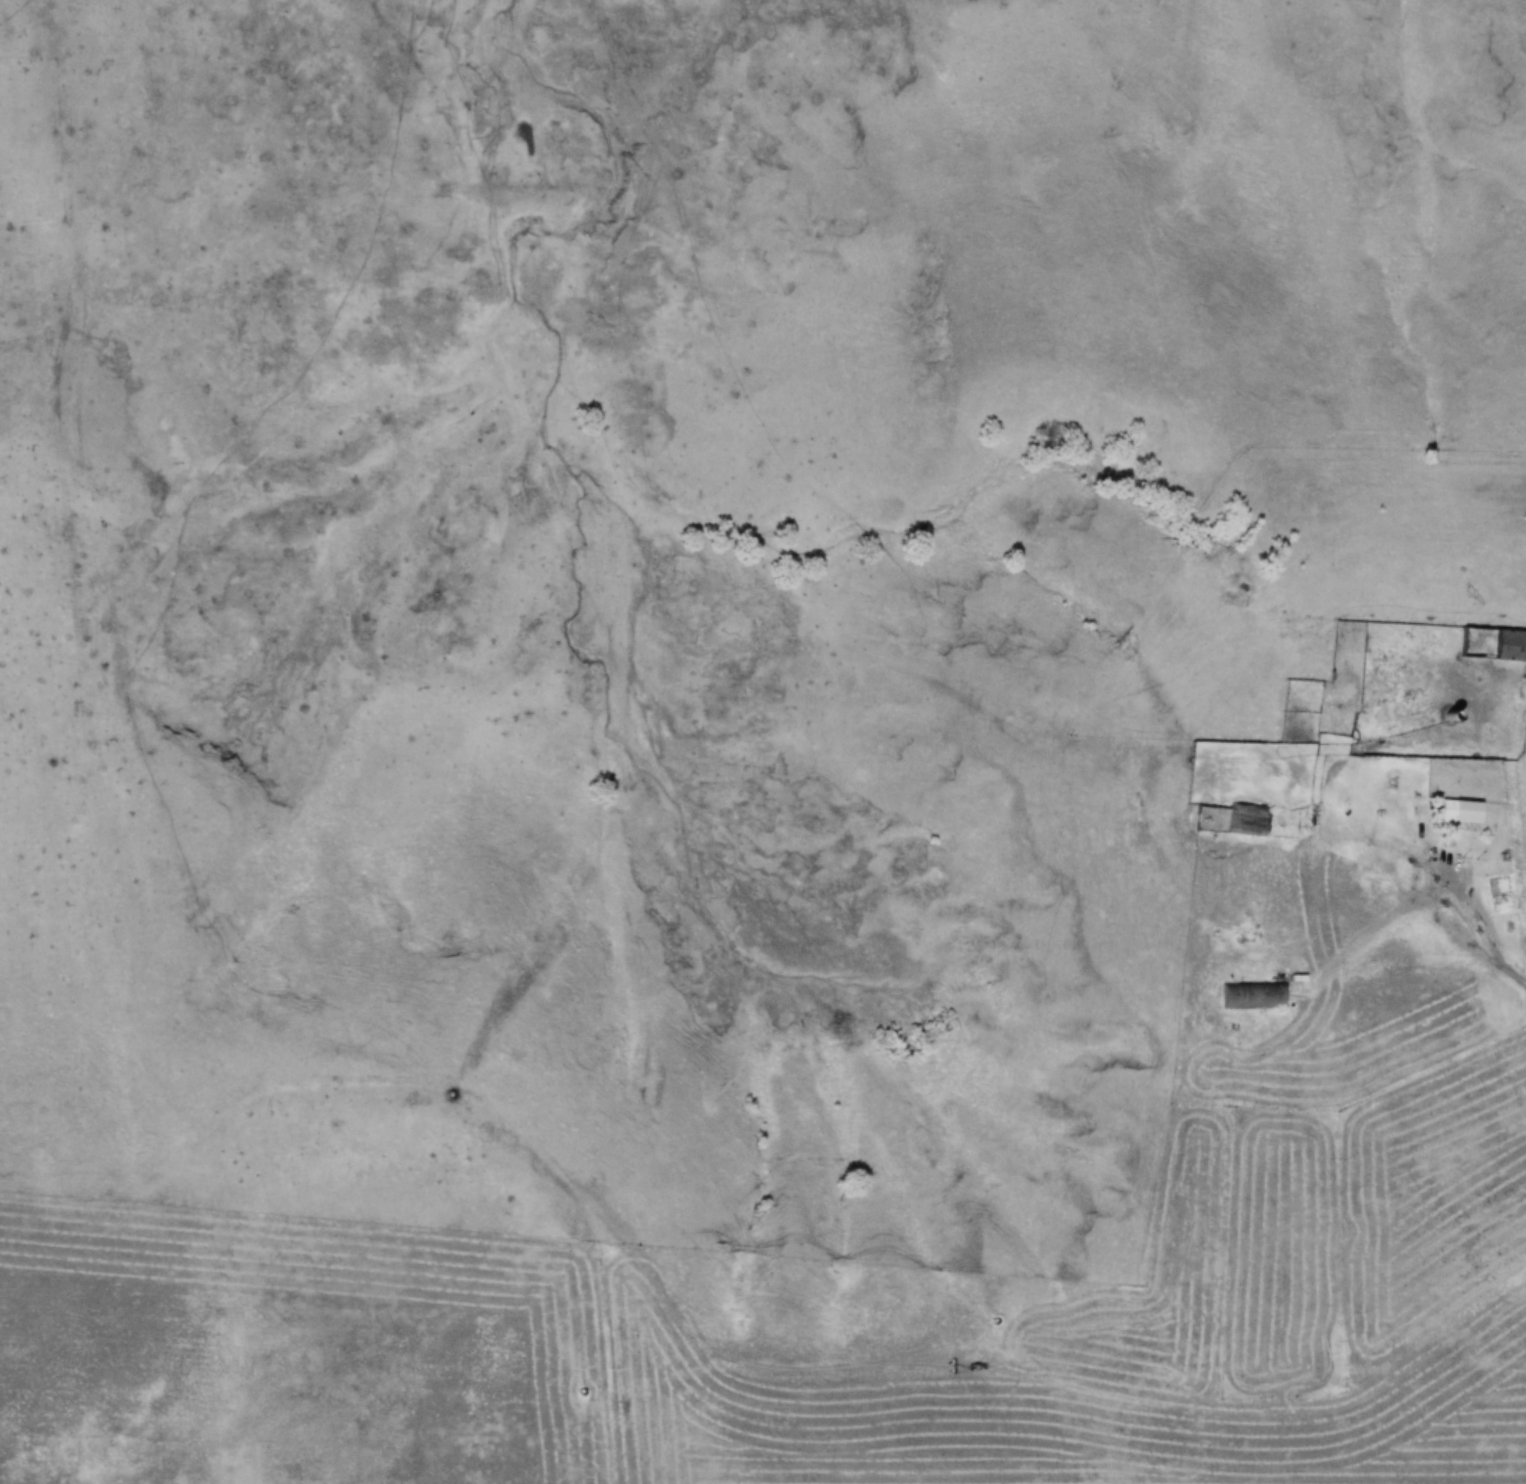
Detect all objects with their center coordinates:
dam: (509, 181)
building: (1504, 639)
building: (1447, 805)
building: (1217, 814)
building: (1458, 815)
road: (1463, 923)
building: (1237, 987)

